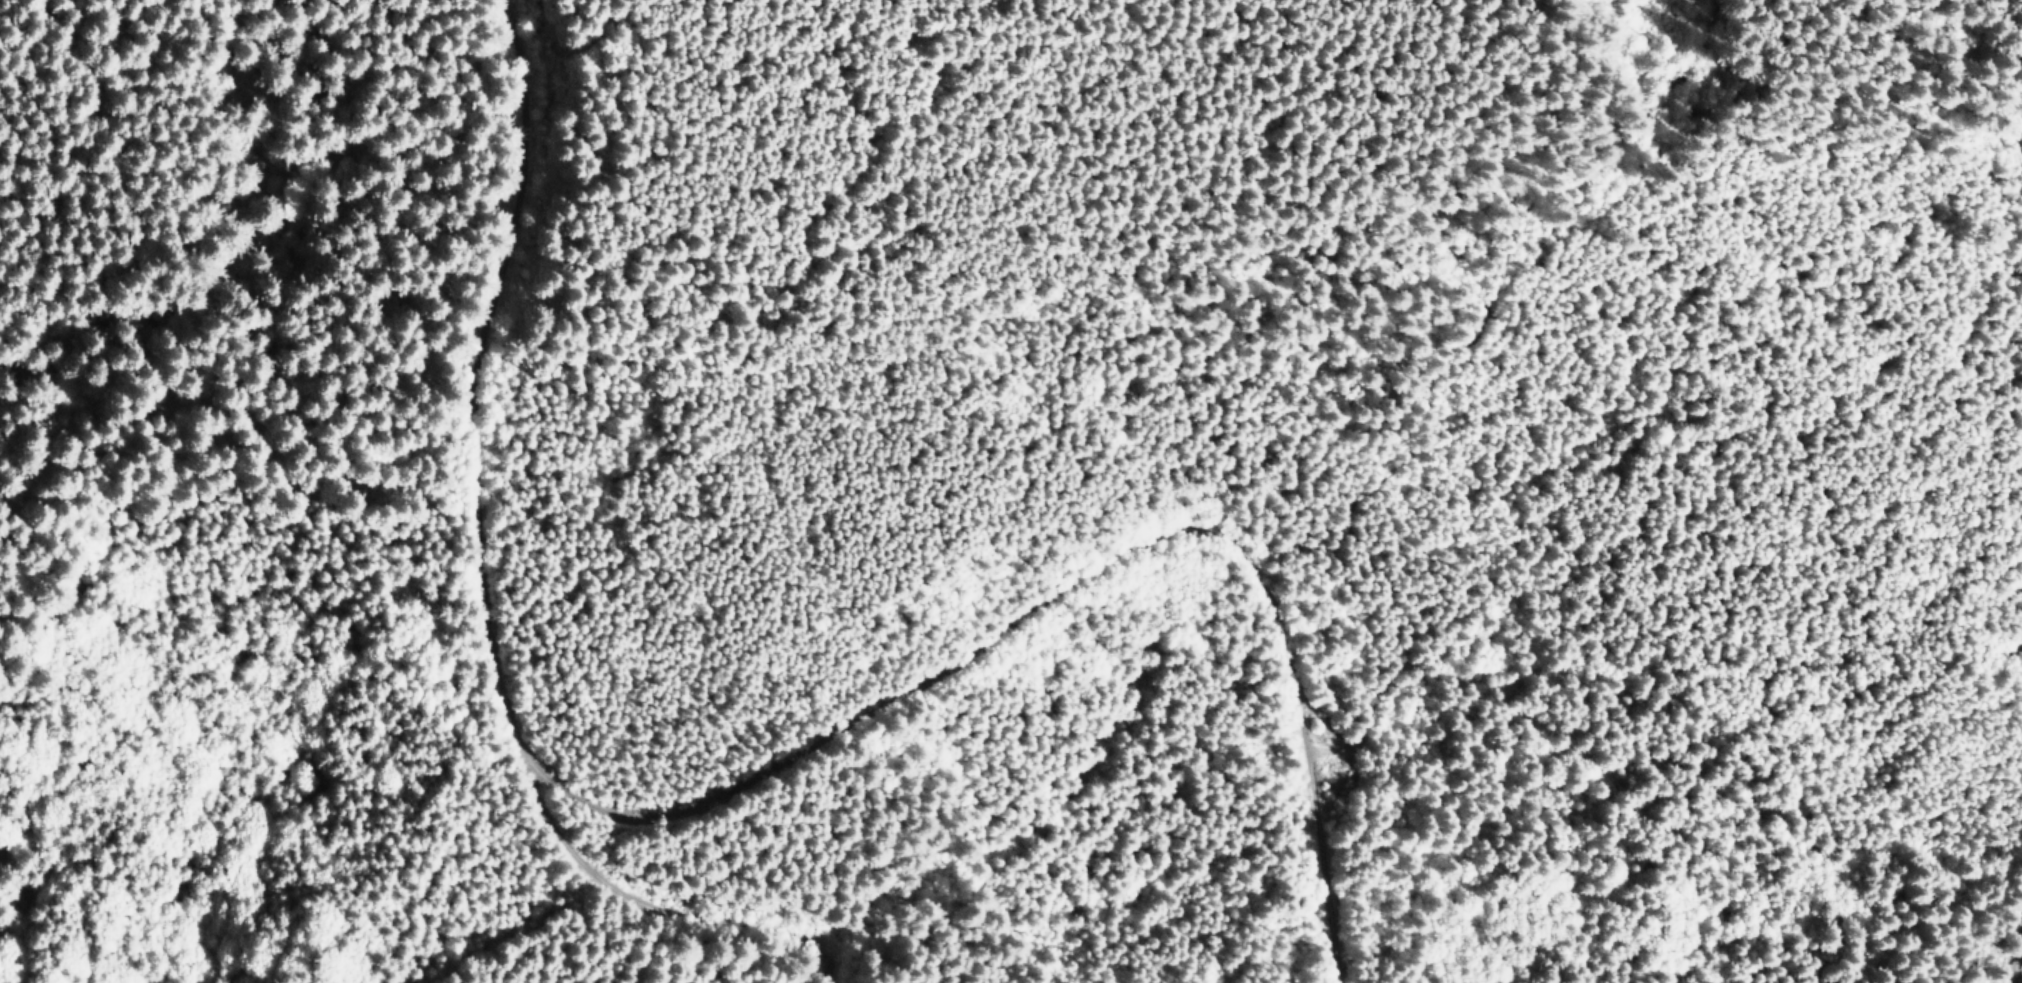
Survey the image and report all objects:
road: (478, 371)
road: (1070, 593)
road: (641, 919)
road: (2015, 970)

